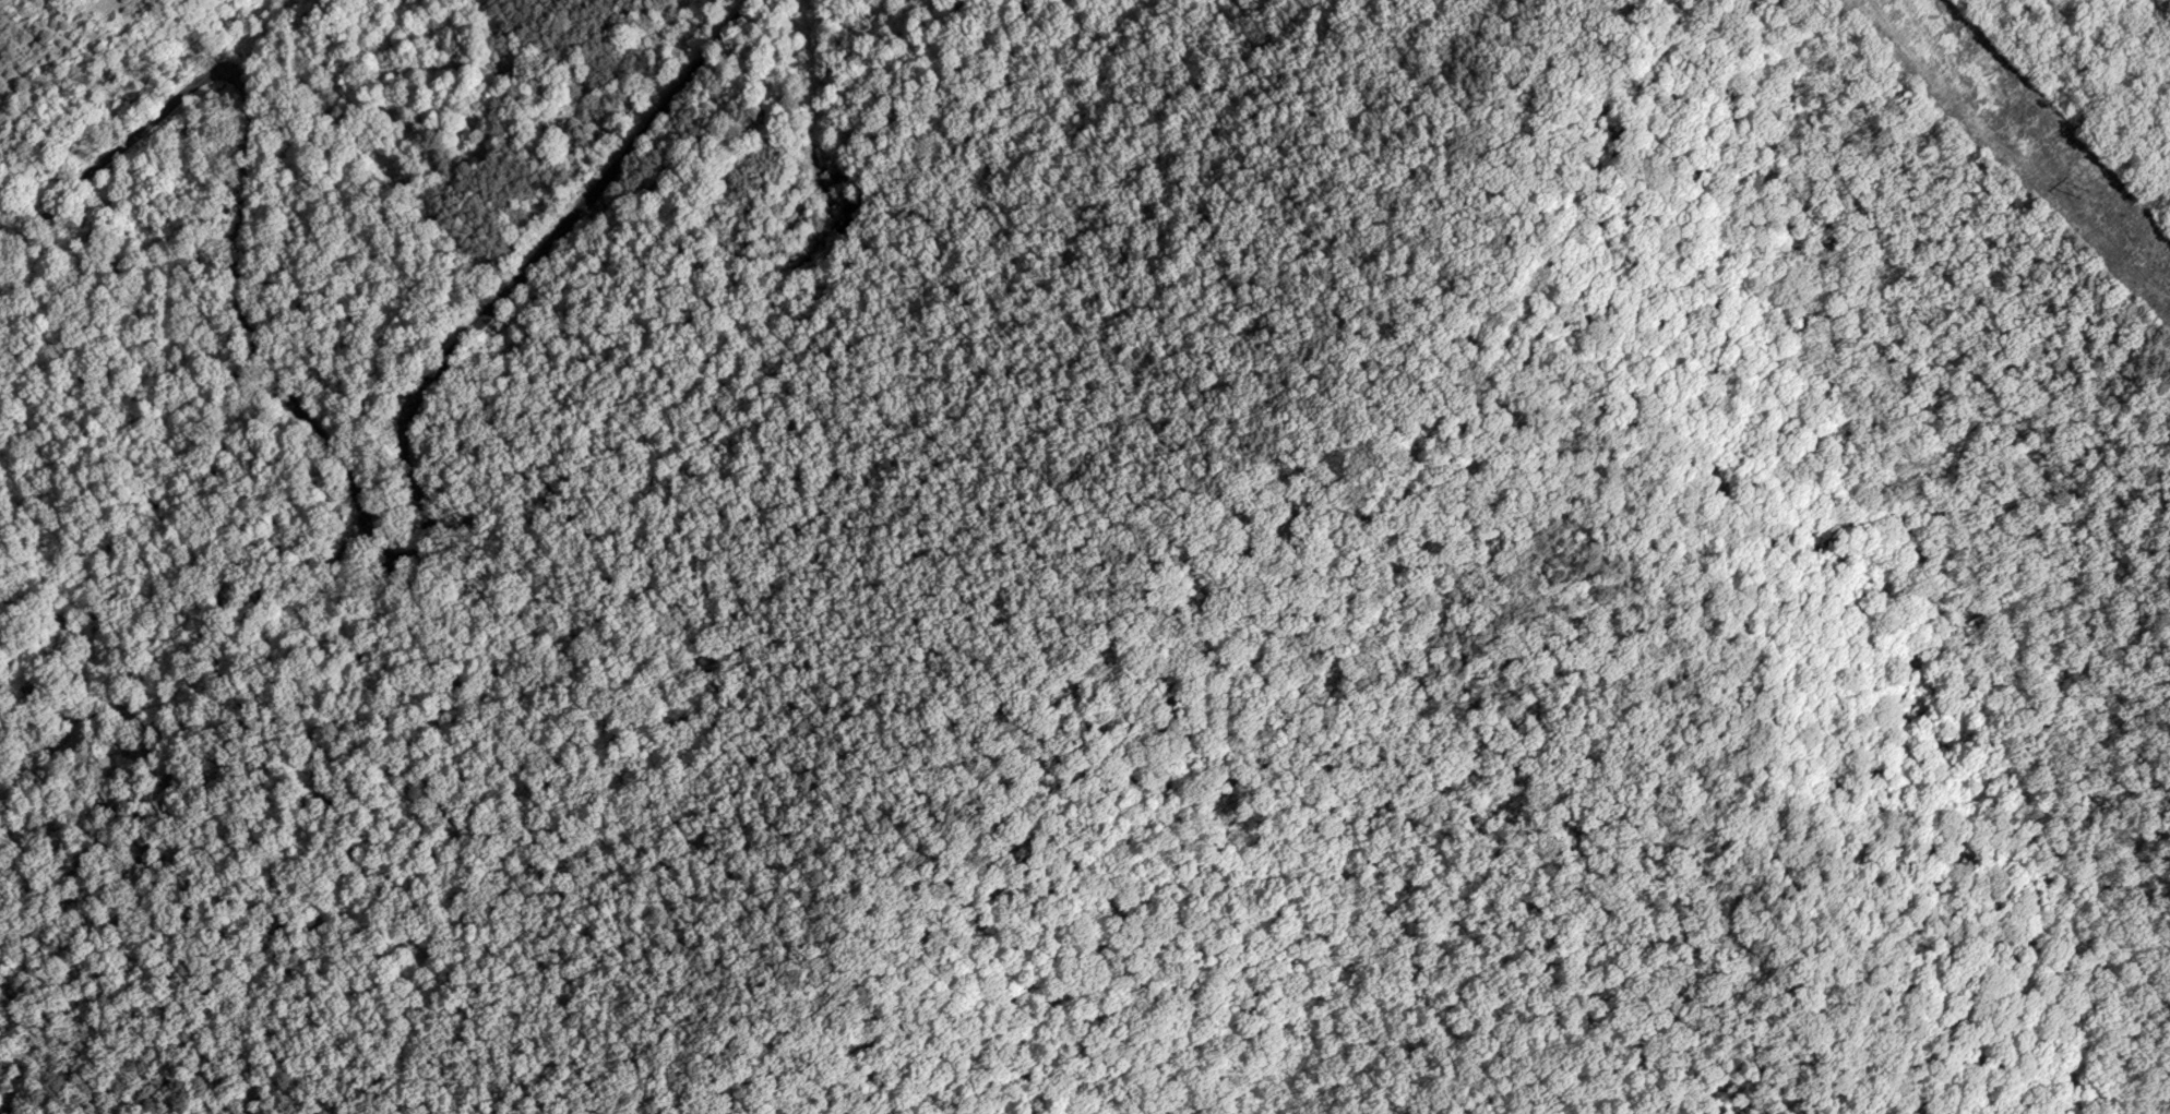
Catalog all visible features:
power tower: (2086, 196)
road: (368, 505)

